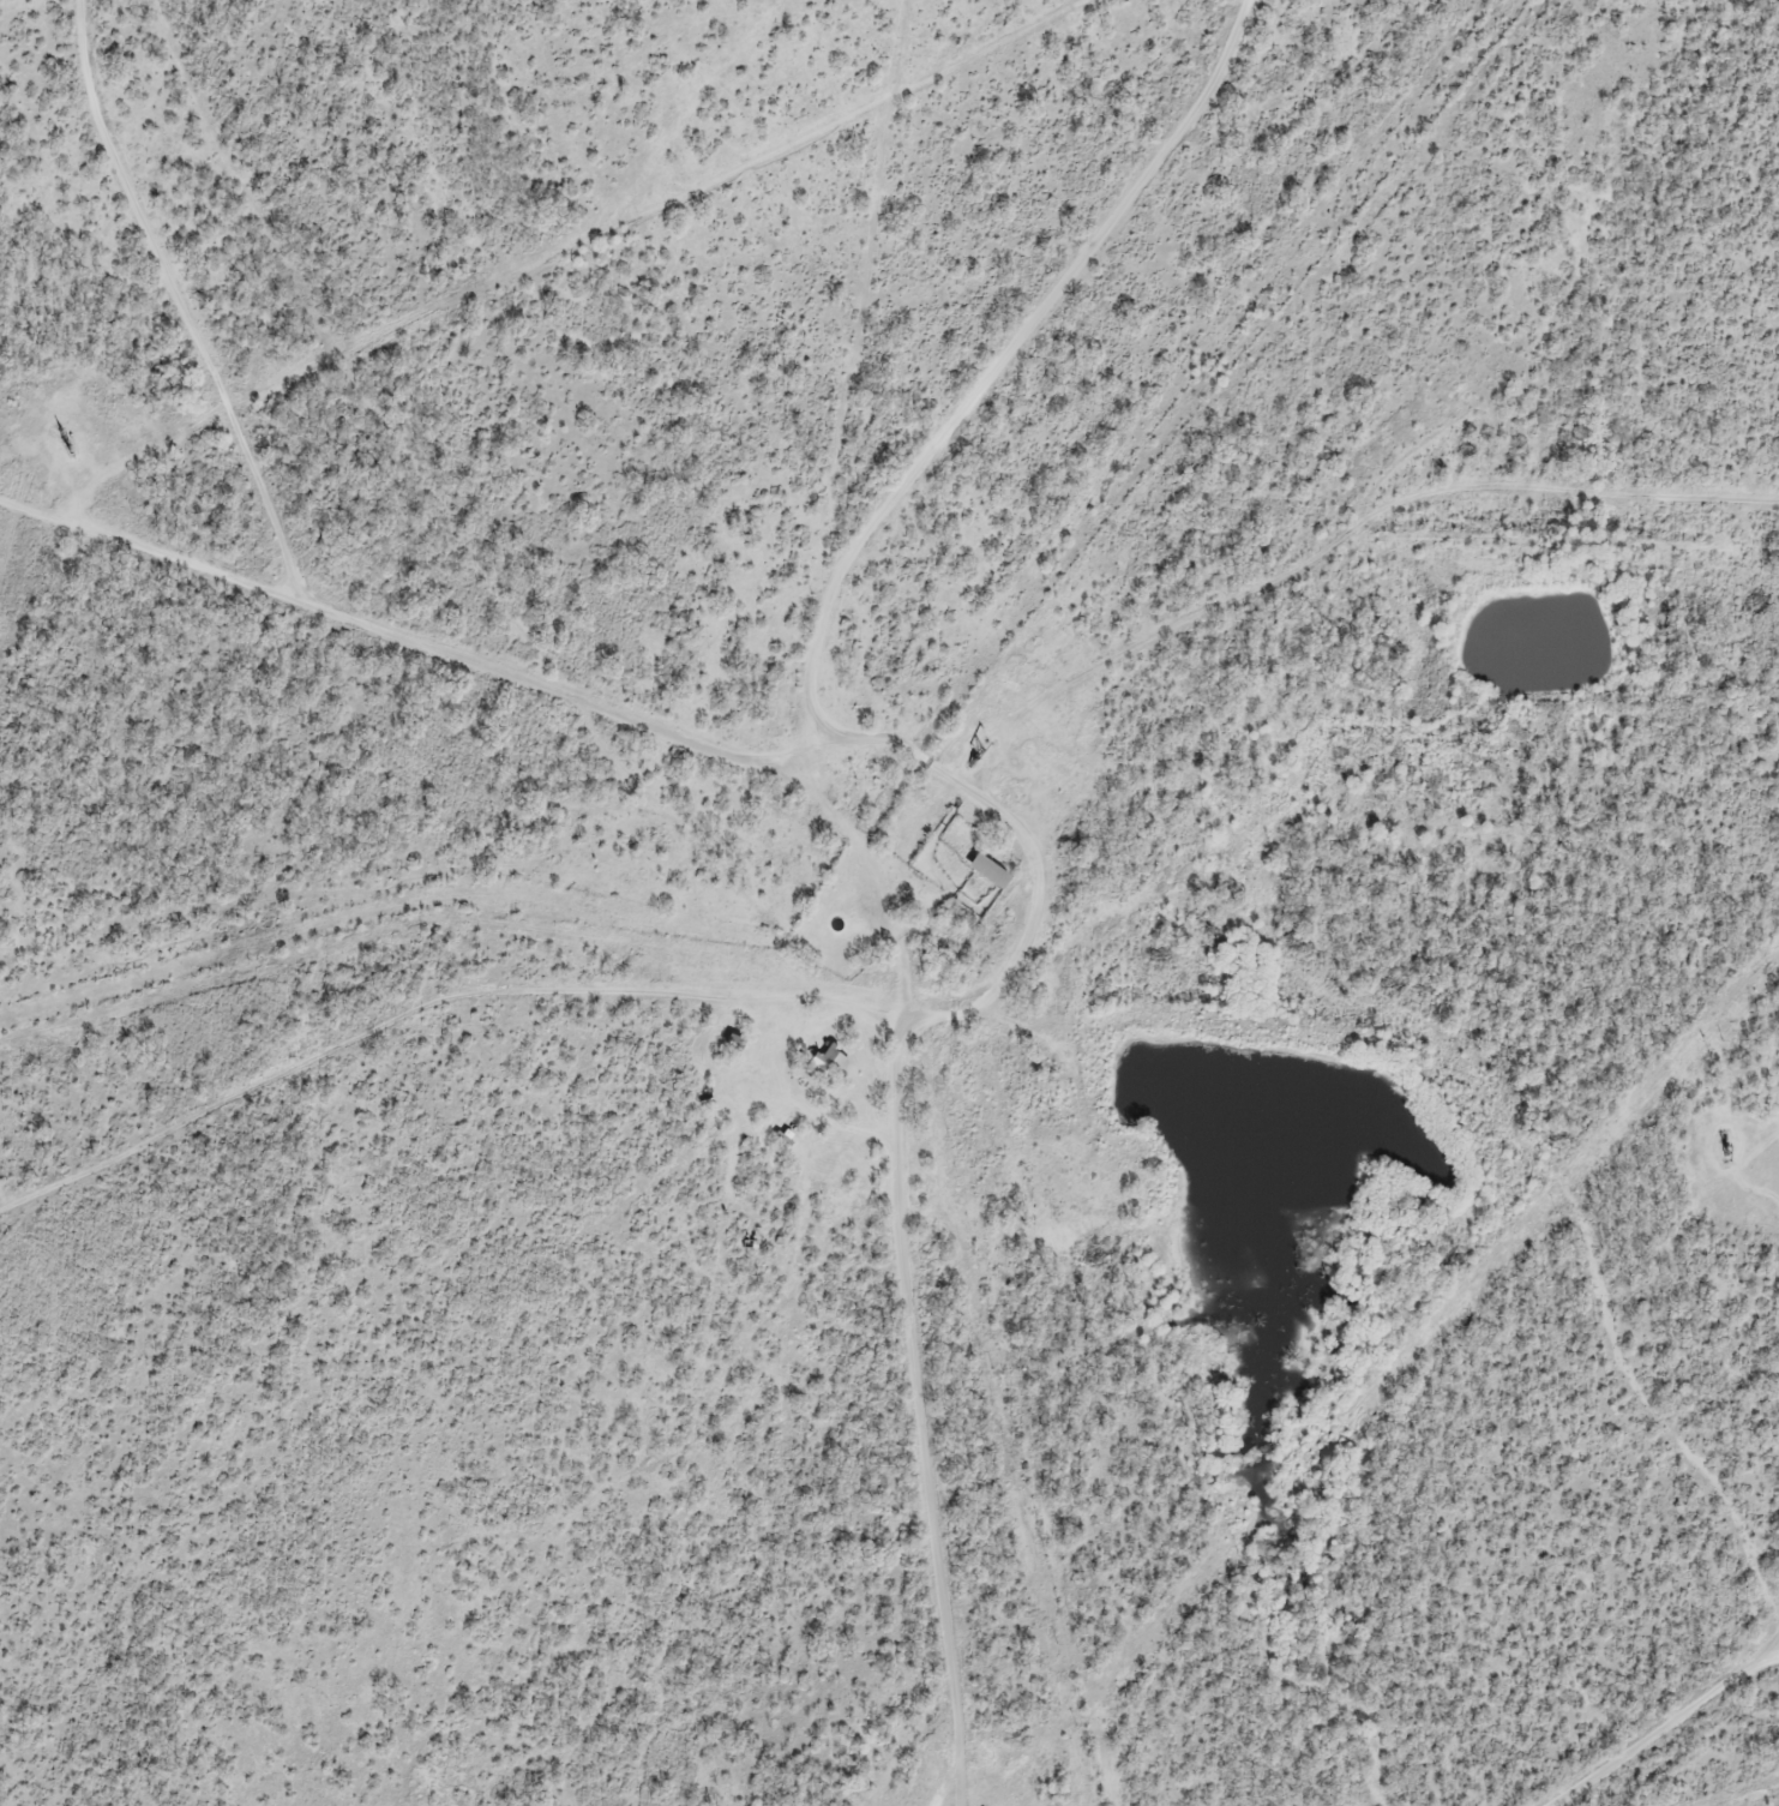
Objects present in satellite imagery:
building: (990, 869)
building: (831, 1062)

